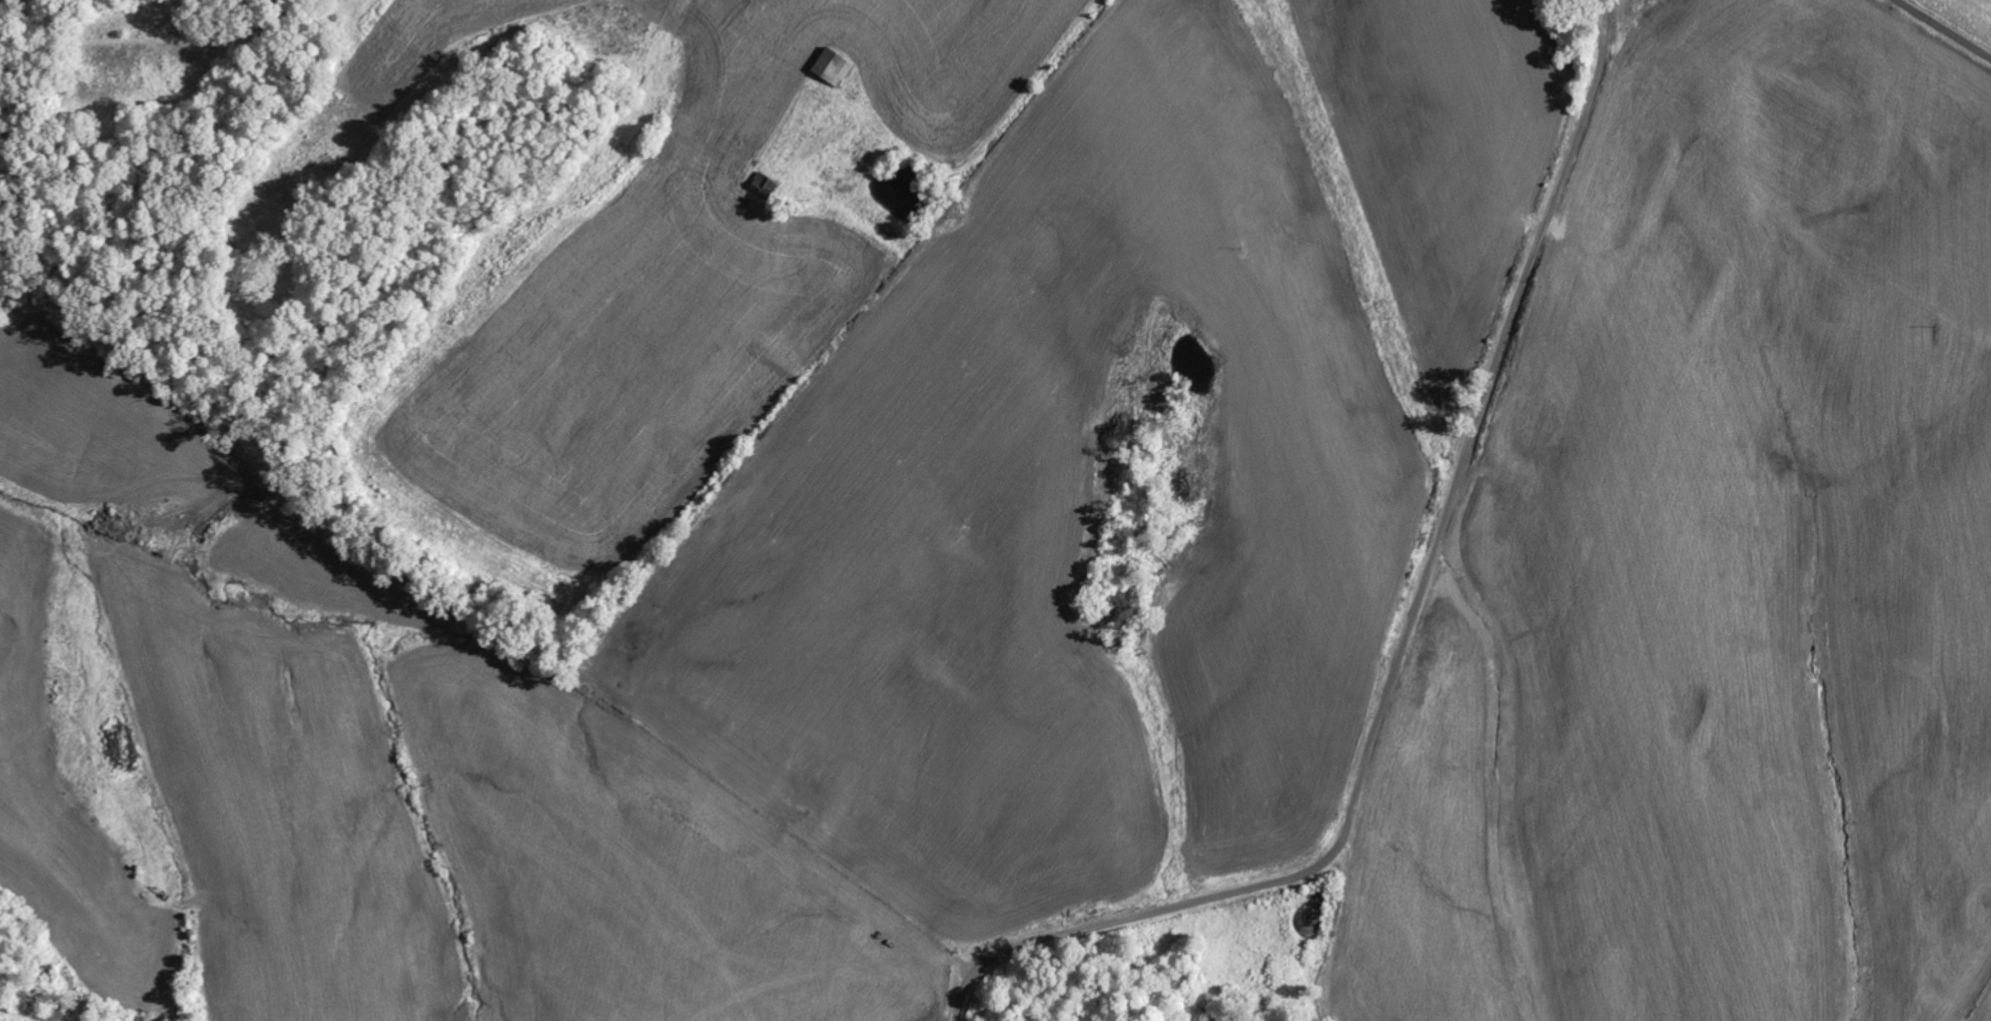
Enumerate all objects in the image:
road: (1941, 29)
building: (839, 67)
road: (1409, 633)

